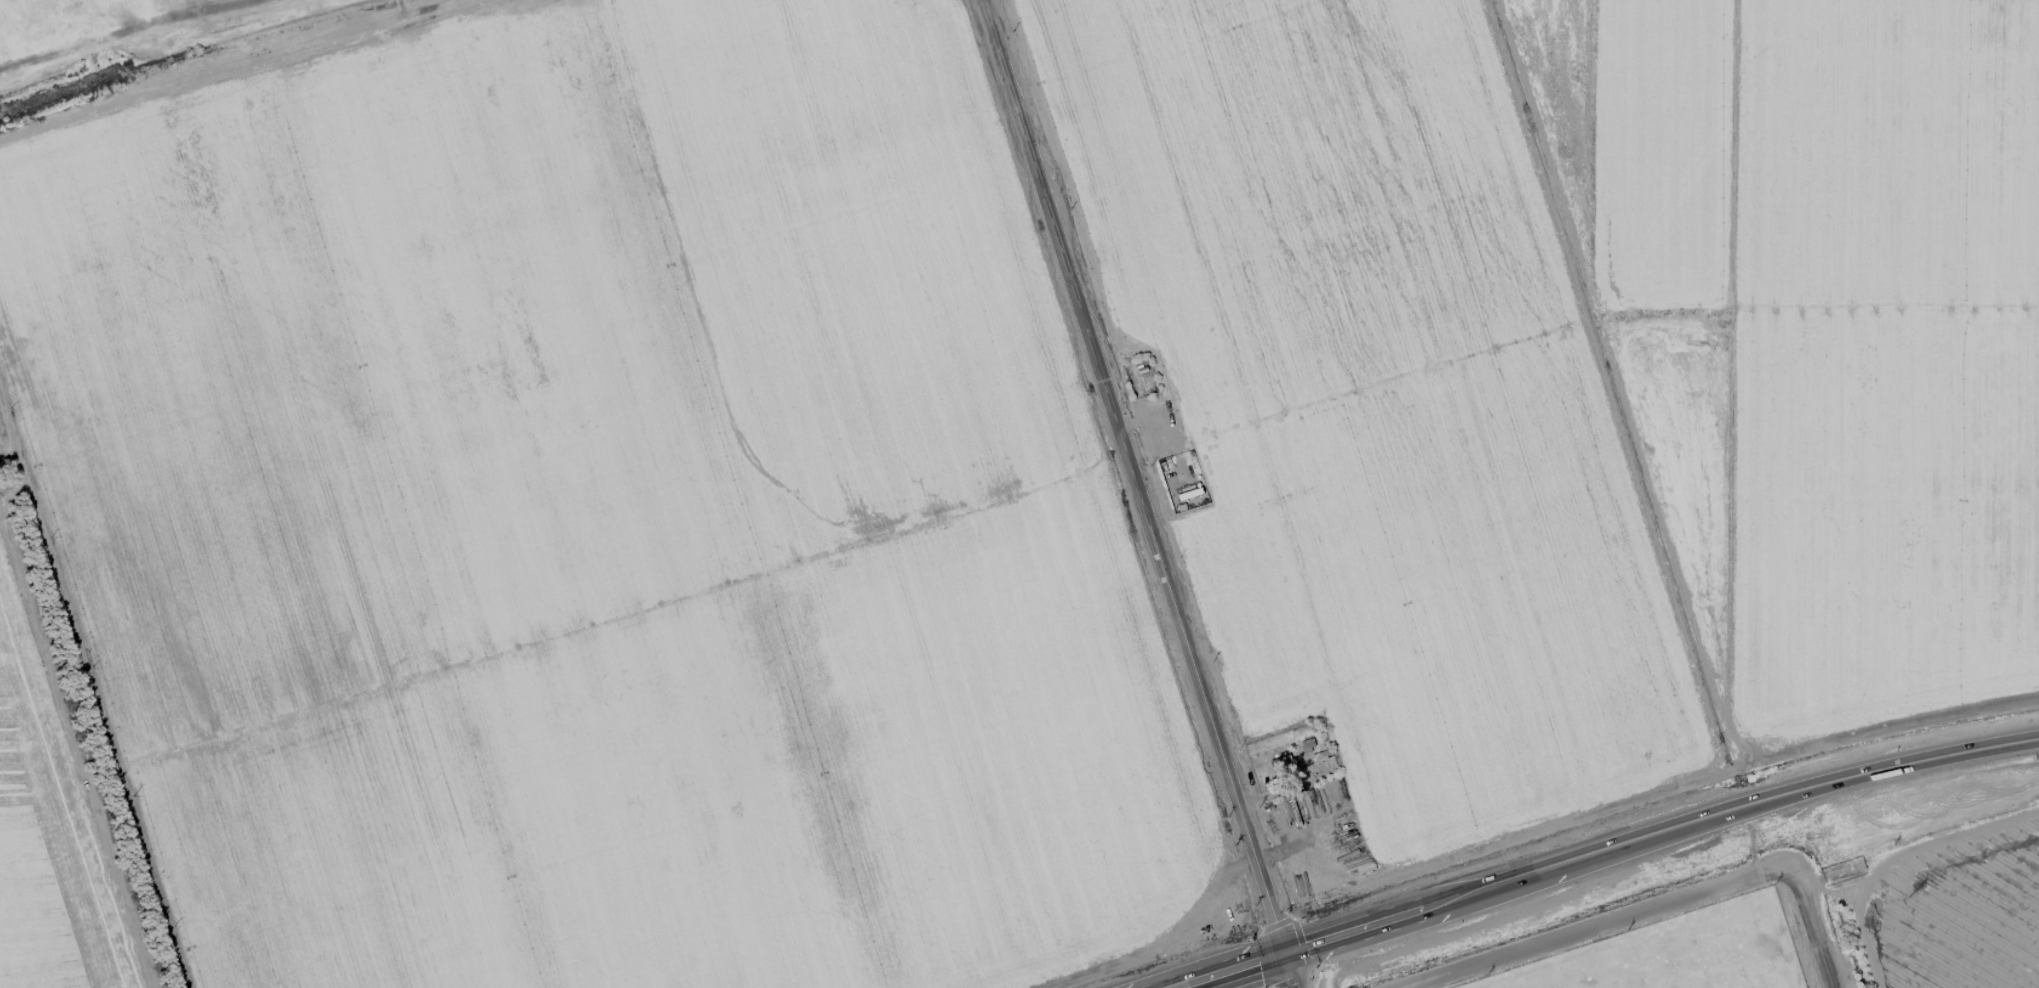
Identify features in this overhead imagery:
road: (1134, 477)
building: (1306, 745)
building: (1282, 764)
road: (1913, 846)
road: (1604, 851)
road: (1595, 925)
road: (1811, 927)
road: (1288, 971)

